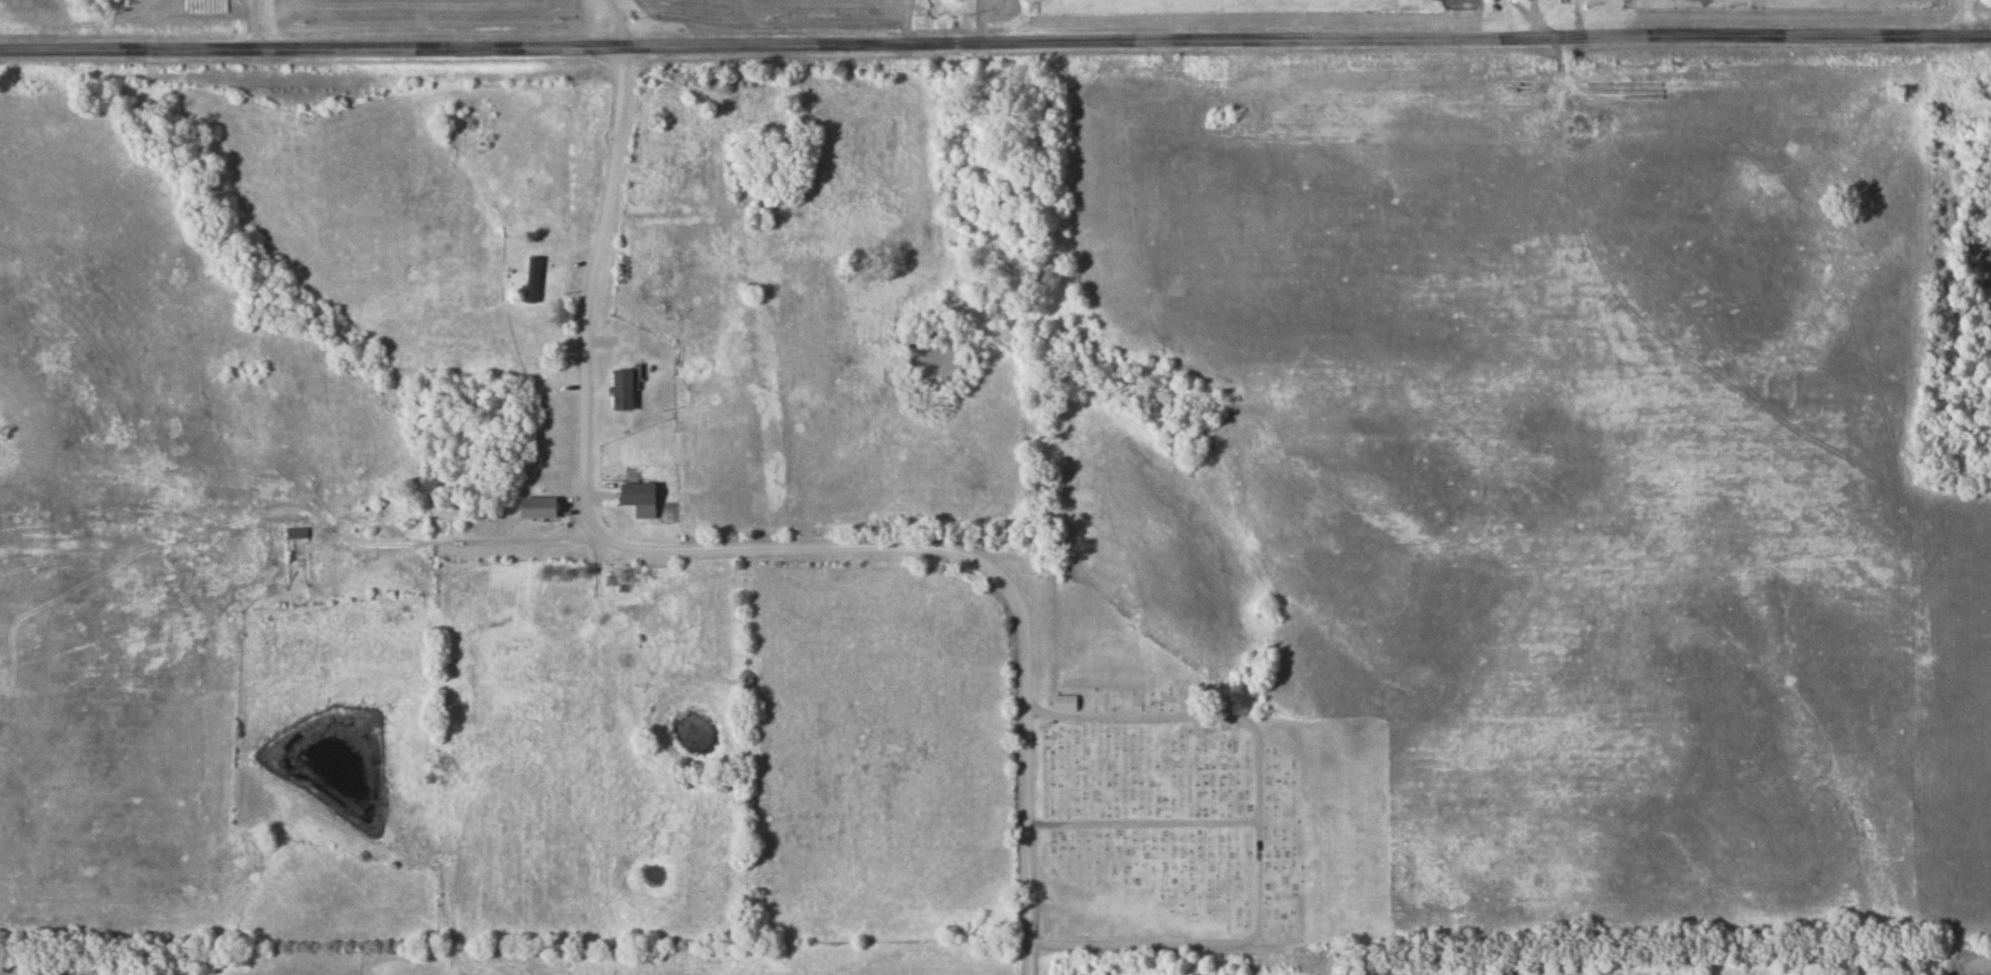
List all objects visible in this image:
road: (619, 23)
road: (252, 24)
road: (995, 44)
building: (548, 262)
building: (626, 390)
building: (643, 495)
building: (542, 508)
building: (443, 530)
building: (298, 534)
road: (757, 550)
building: (1067, 703)
park: (1192, 800)

